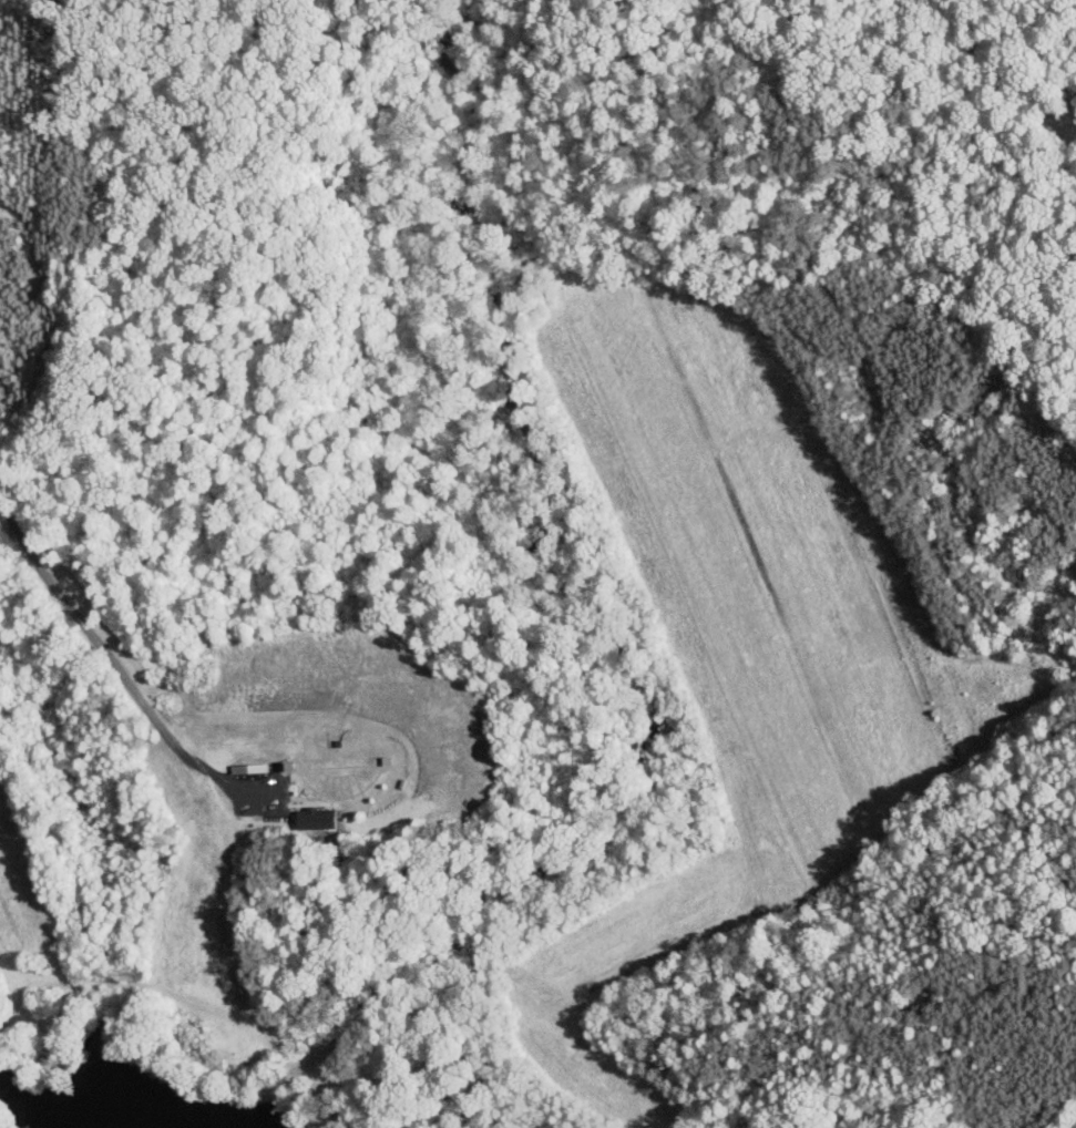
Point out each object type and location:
road: (112, 658)

